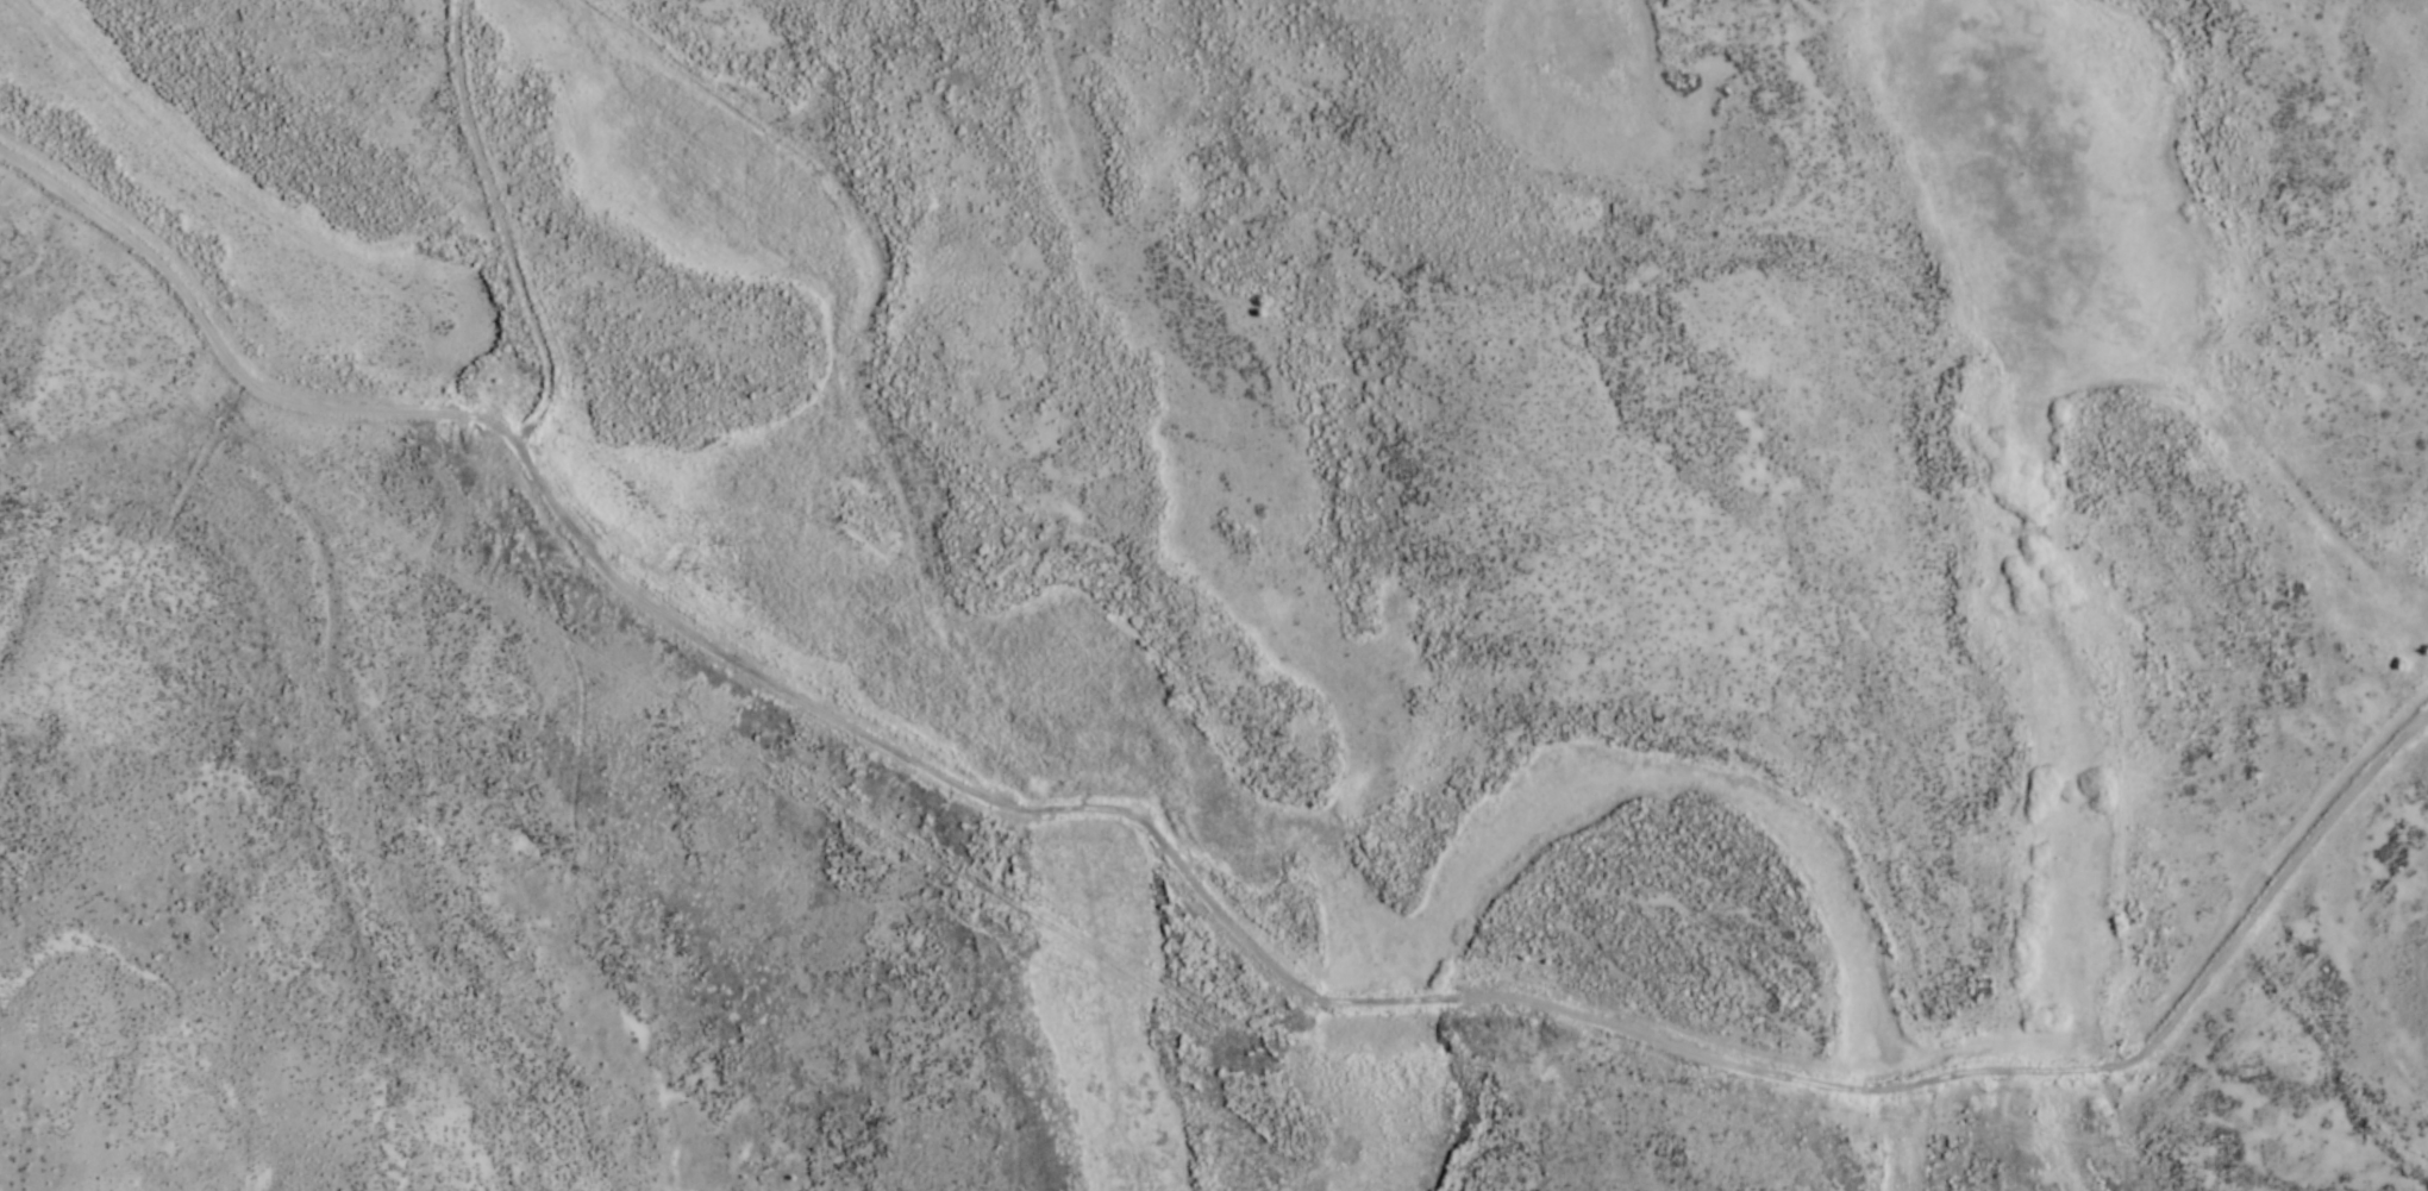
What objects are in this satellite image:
road: (483, 226)
road: (1188, 899)

